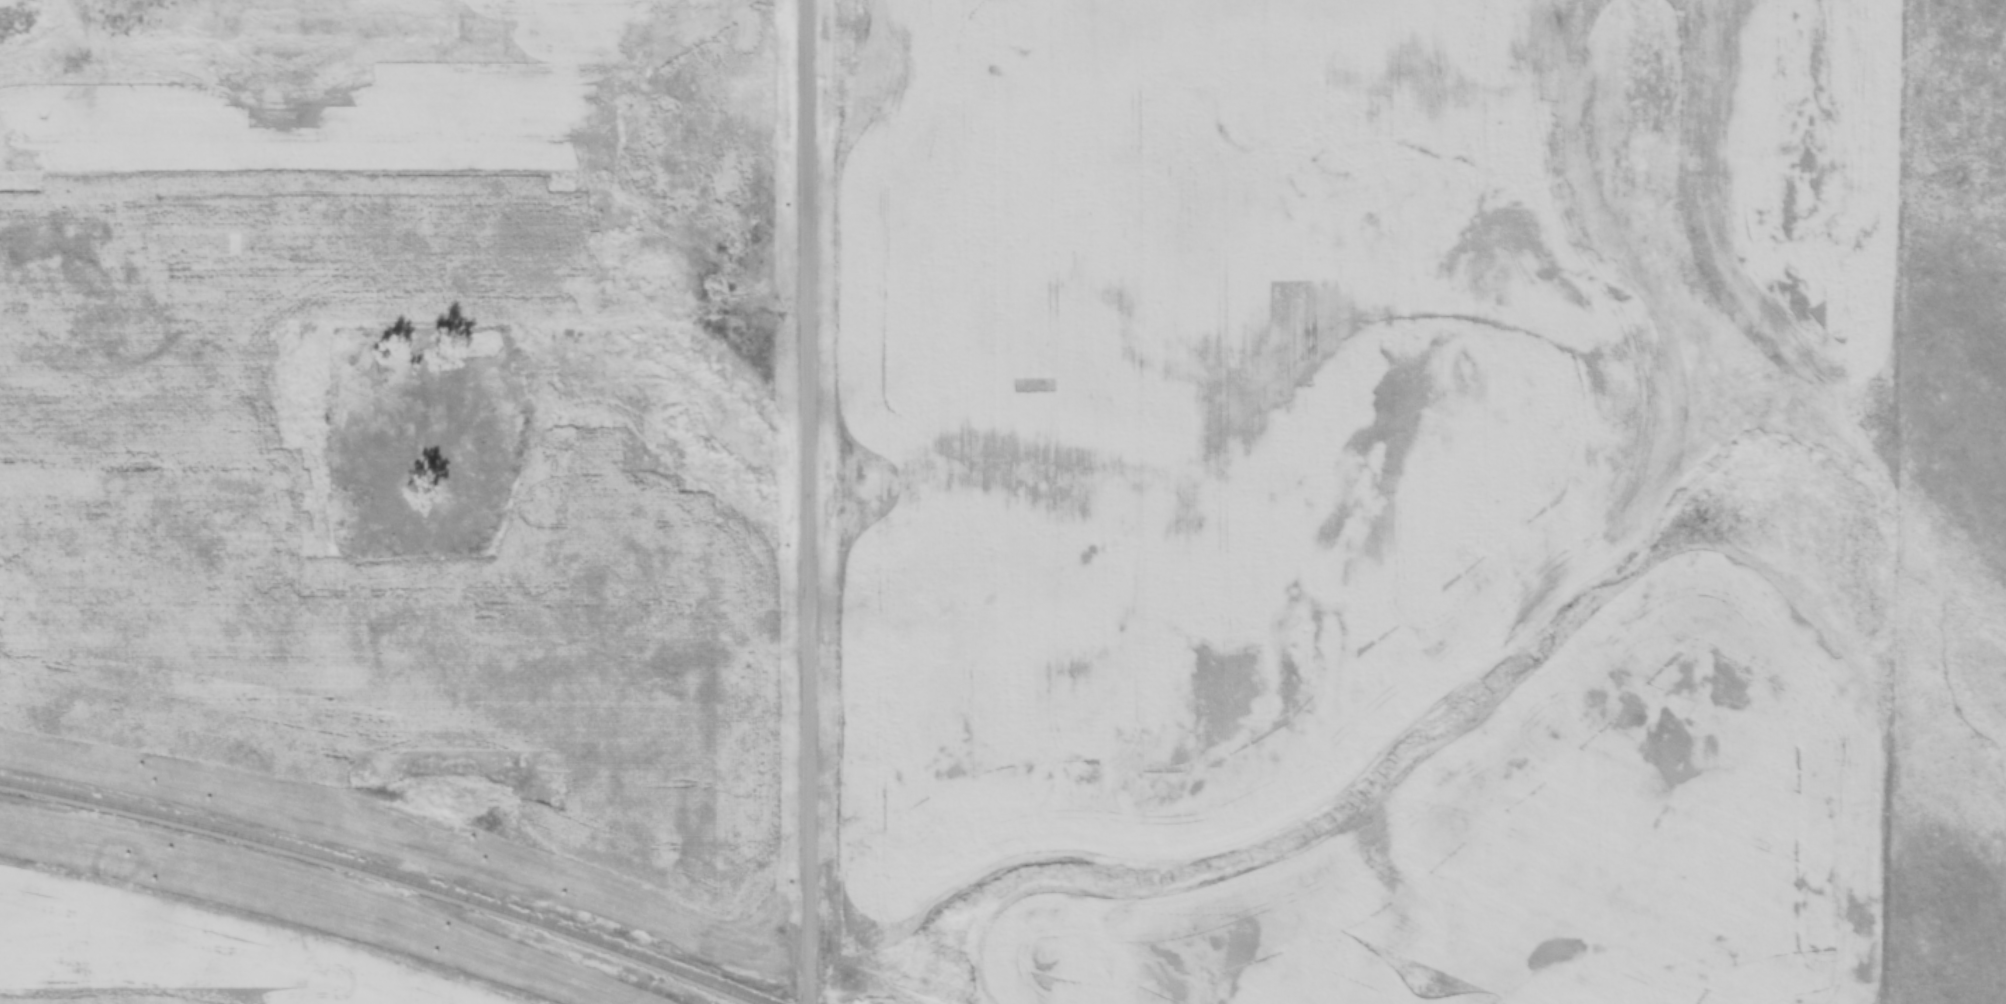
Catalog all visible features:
road: (806, 501)
railway: (385, 873)

